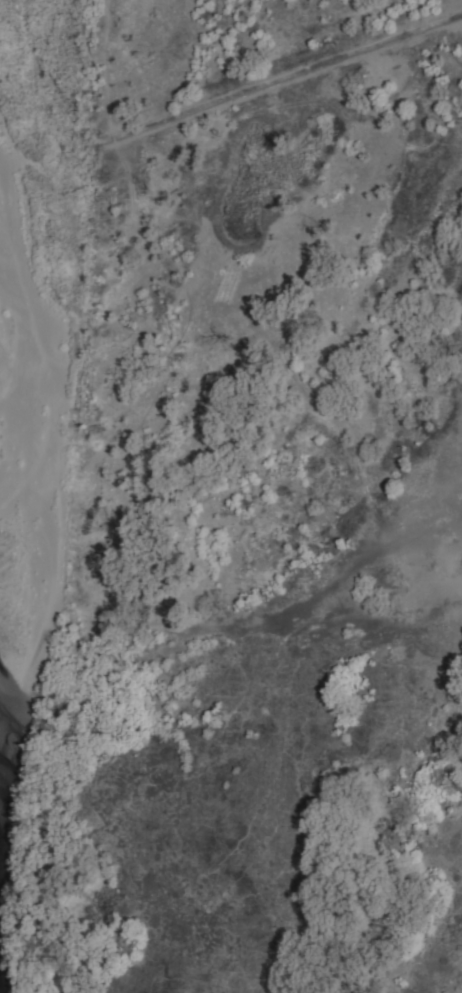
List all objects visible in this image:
road: (104, 65)
road: (113, 135)
road: (107, 563)

